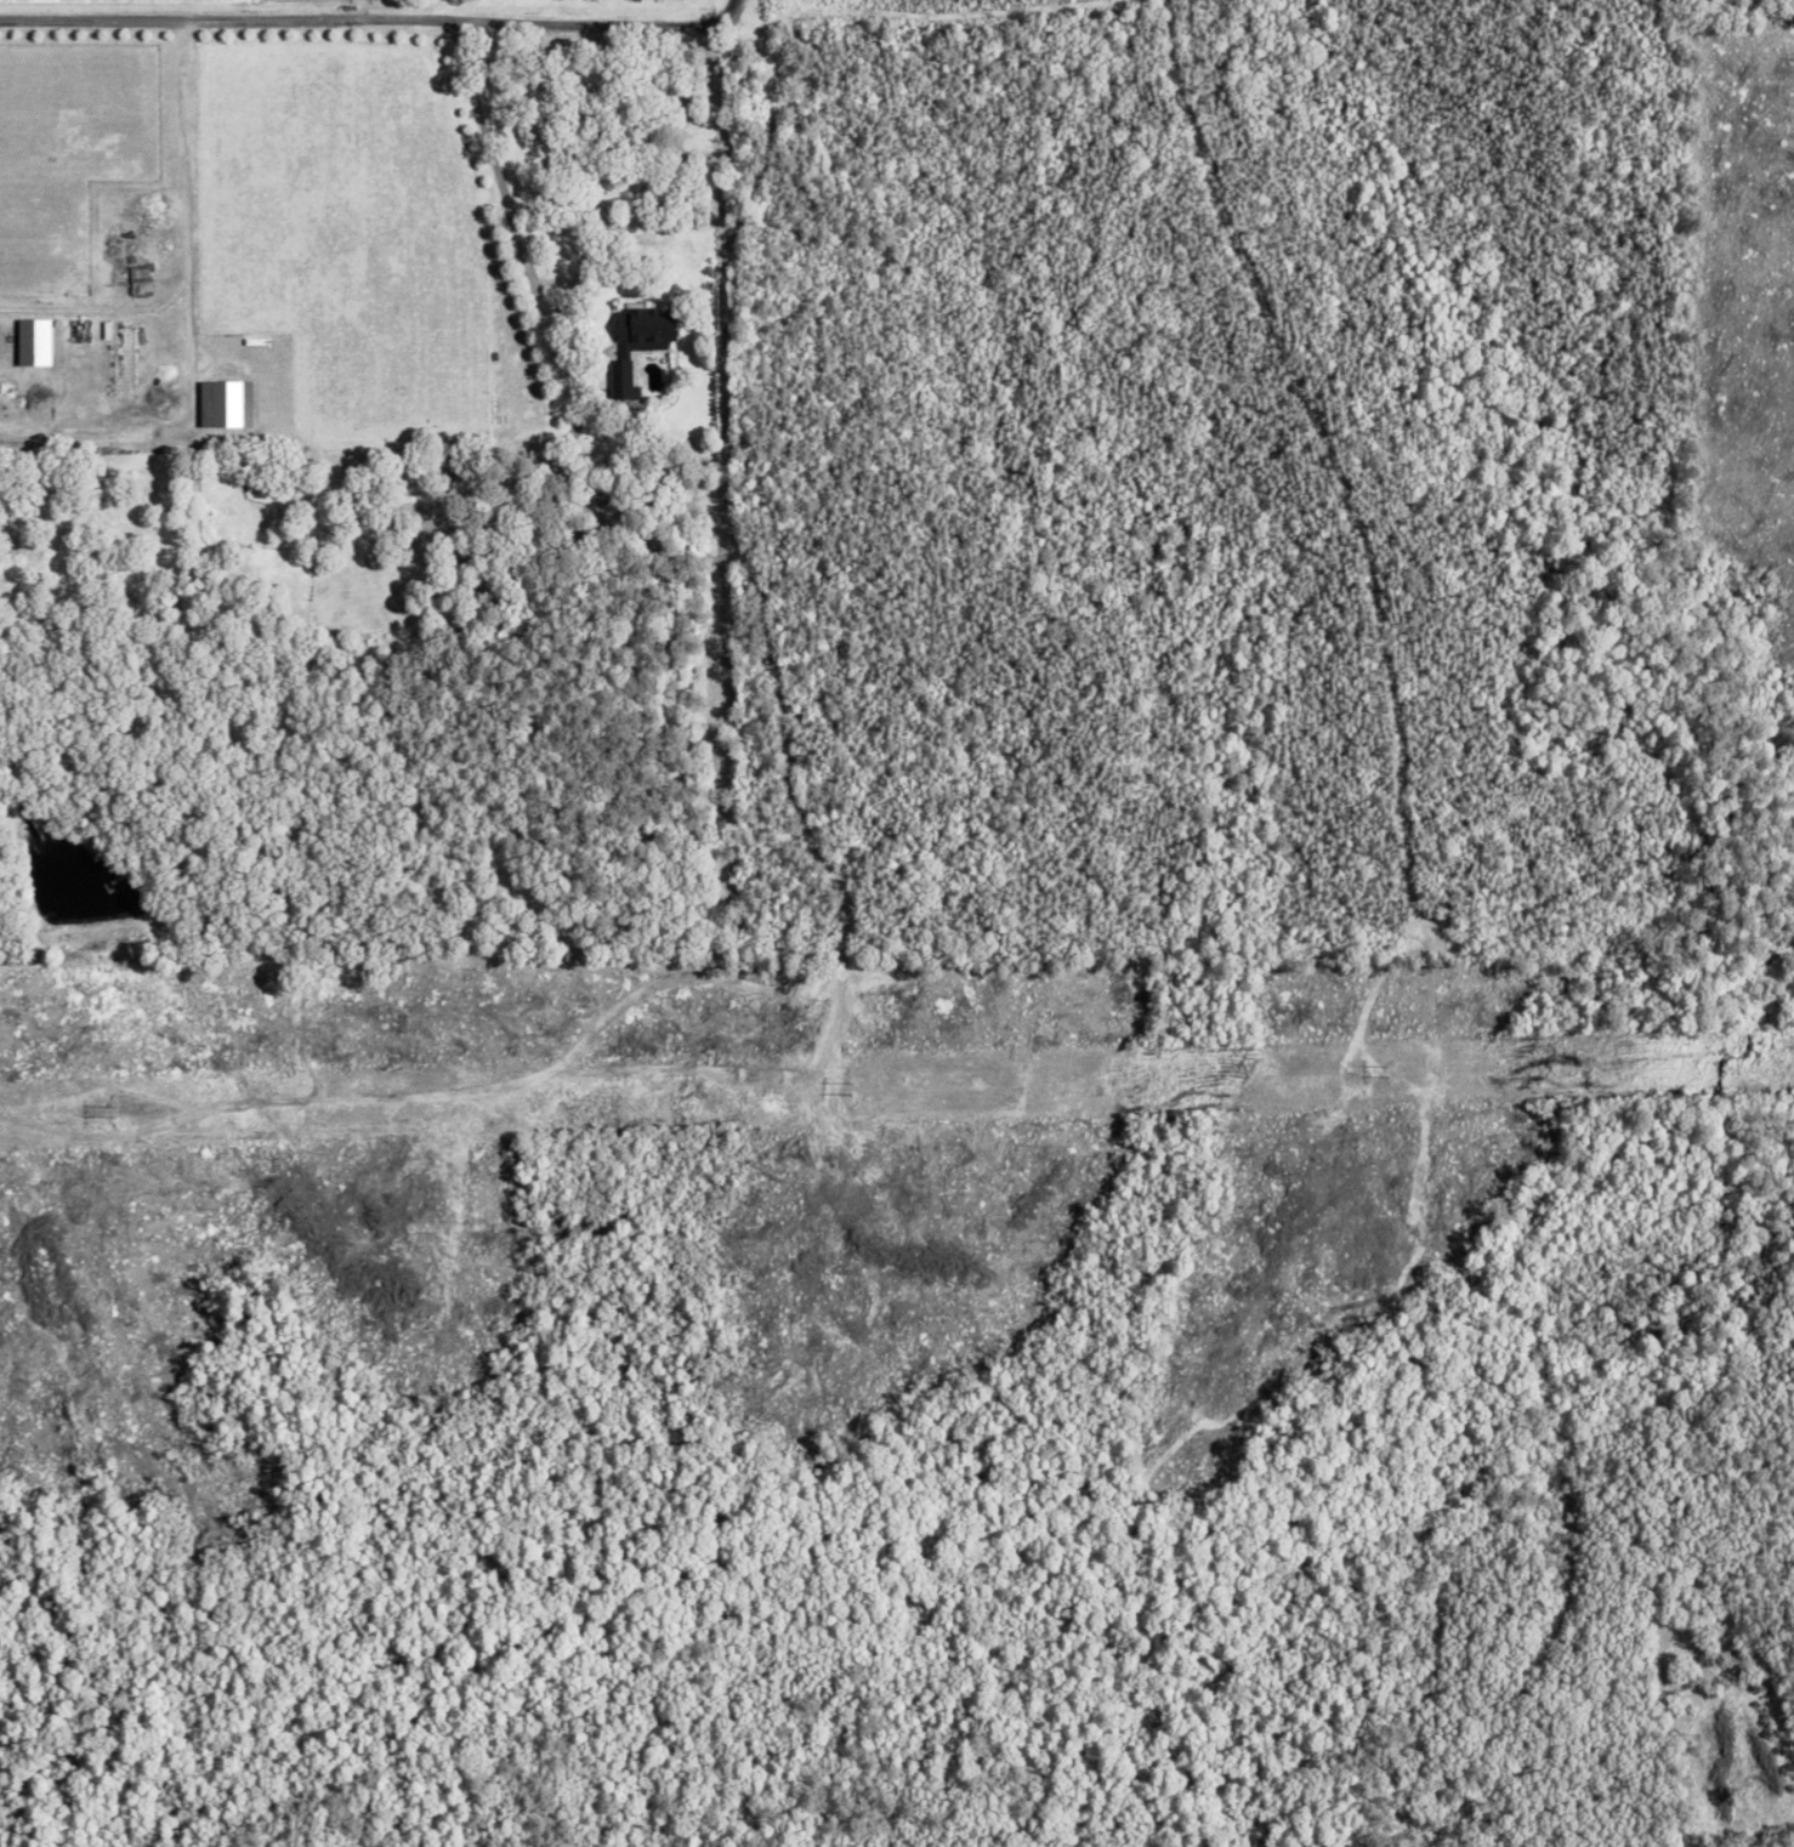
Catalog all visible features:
road: (370, 21)
road: (501, 184)
road: (186, 249)
building: (642, 336)
building: (35, 341)
building: (125, 354)
building: (227, 403)

